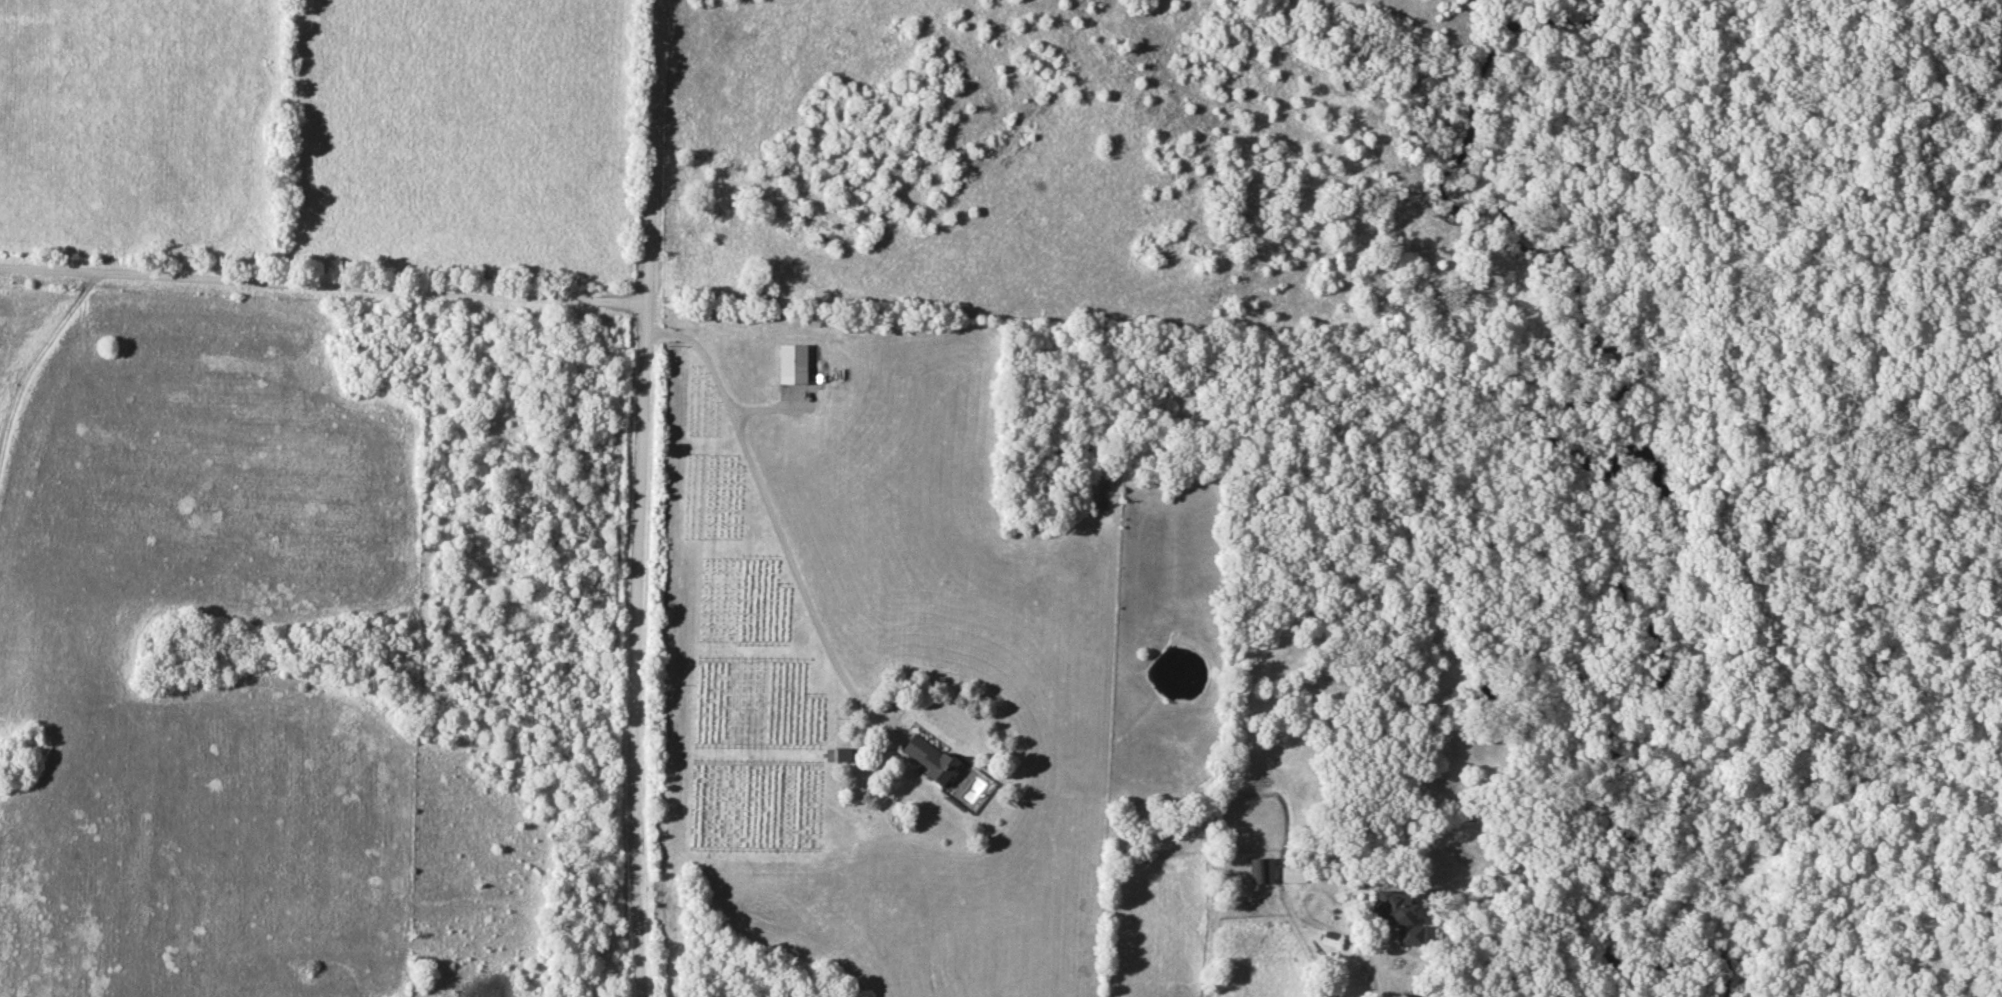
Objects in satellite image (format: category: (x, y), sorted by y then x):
road: (323, 285)
building: (789, 364)
road: (639, 498)
road: (772, 514)
building: (927, 758)
building: (1258, 870)
building: (1291, 870)
building: (1396, 915)
building: (1328, 939)
road: (1377, 963)

